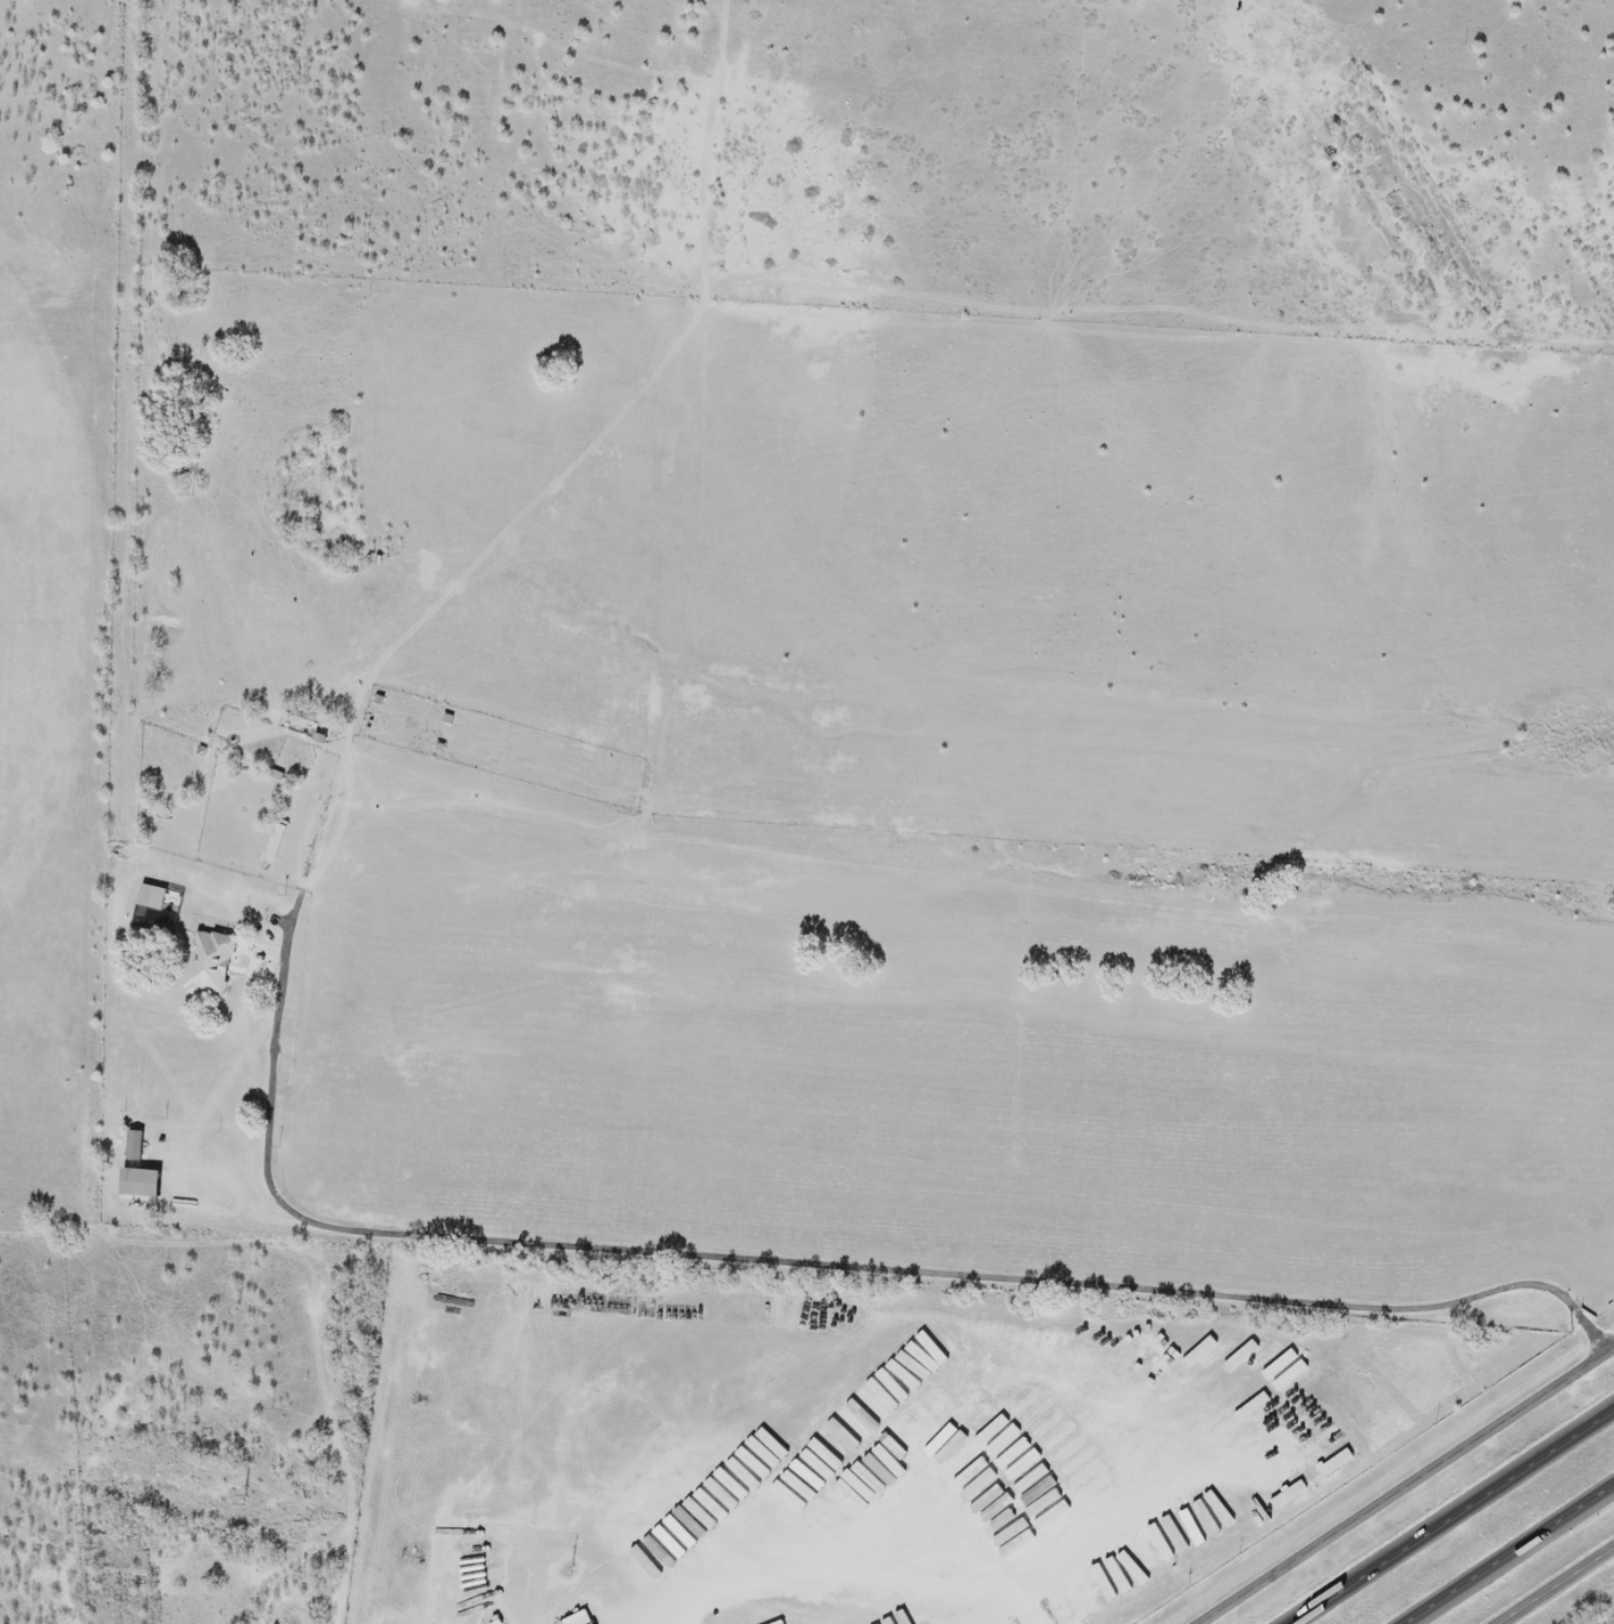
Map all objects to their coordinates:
building: (158, 906)
building: (212, 962)
building: (136, 1142)
building: (142, 1180)
road: (724, 1245)
road: (1407, 1484)
power tower: (245, 1496)
road: (1447, 1513)
building: (164, 1546)
road: (1511, 1555)
road: (848, 1564)
power tower: (572, 1569)
road: (1556, 1586)

